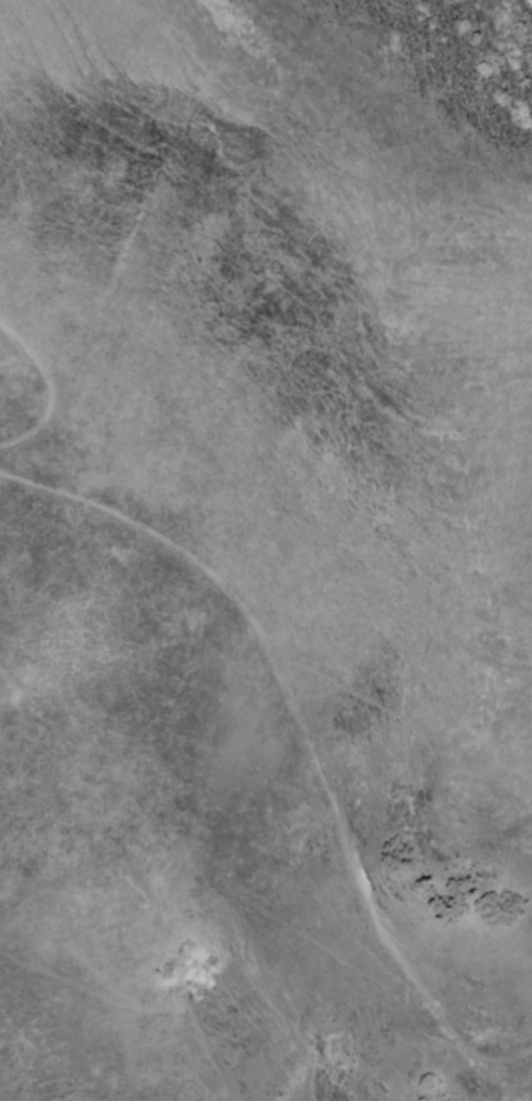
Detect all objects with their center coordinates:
road: (529, 3)
road: (49, 386)
road: (301, 739)

